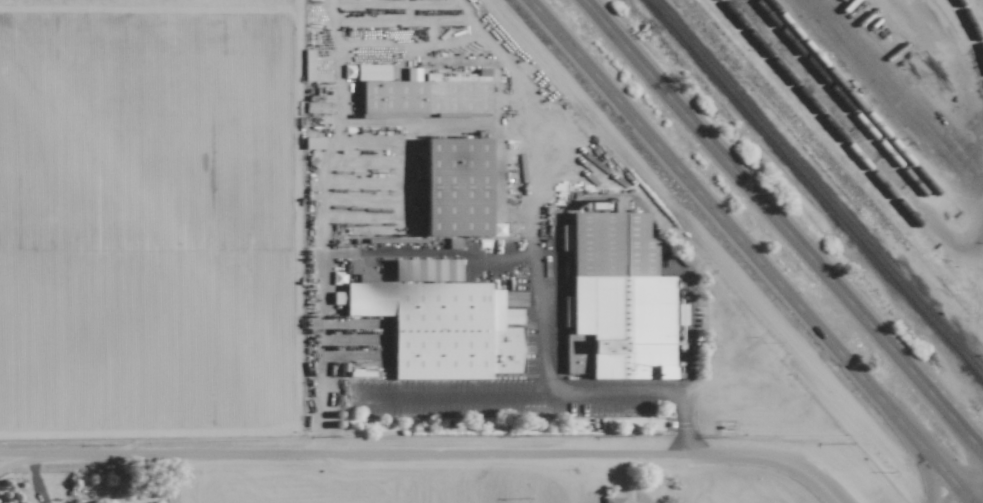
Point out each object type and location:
railway: (970, 25)
building: (372, 72)
building: (412, 73)
railway: (849, 96)
building: (426, 97)
railway: (840, 98)
railway: (845, 139)
building: (457, 187)
railway: (816, 189)
road: (783, 227)
building: (426, 244)
road: (748, 251)
road: (395, 253)
building: (617, 300)
building: (440, 321)
road: (552, 395)
road: (434, 459)
road: (972, 485)
road: (956, 498)
building: (614, 500)

